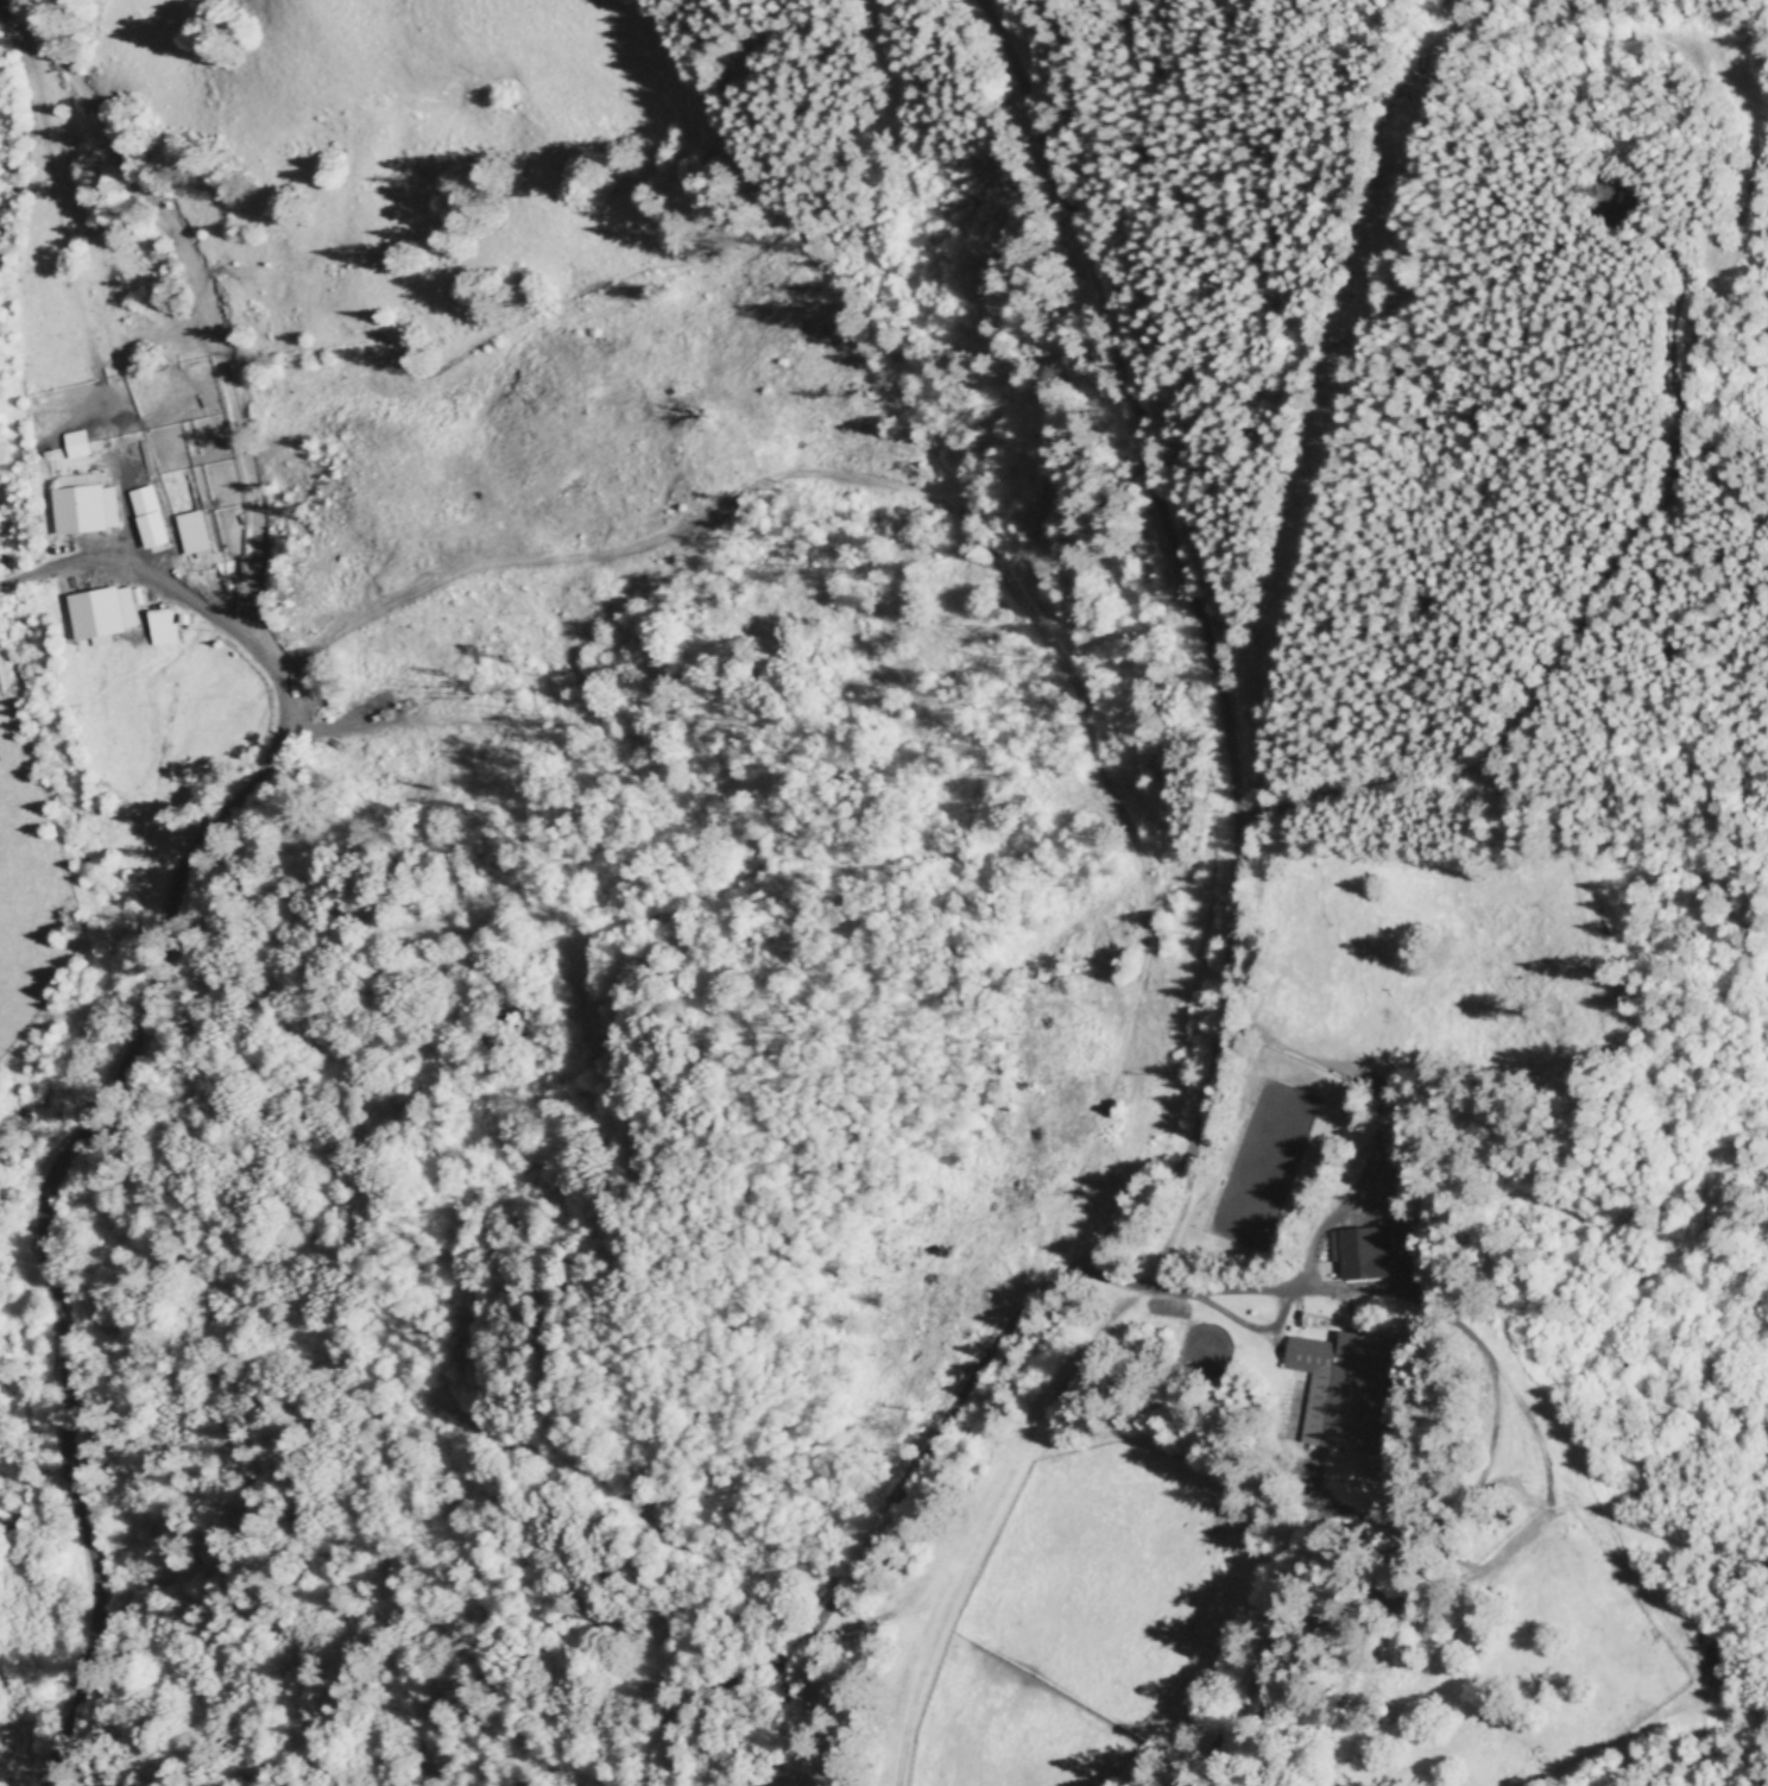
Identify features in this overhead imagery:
building: (74, 444)
building: (83, 510)
building: (146, 517)
building: (190, 532)
building: (160, 626)
road: (1225, 958)
building: (1360, 1252)
building: (1349, 1391)
road: (706, 1749)

